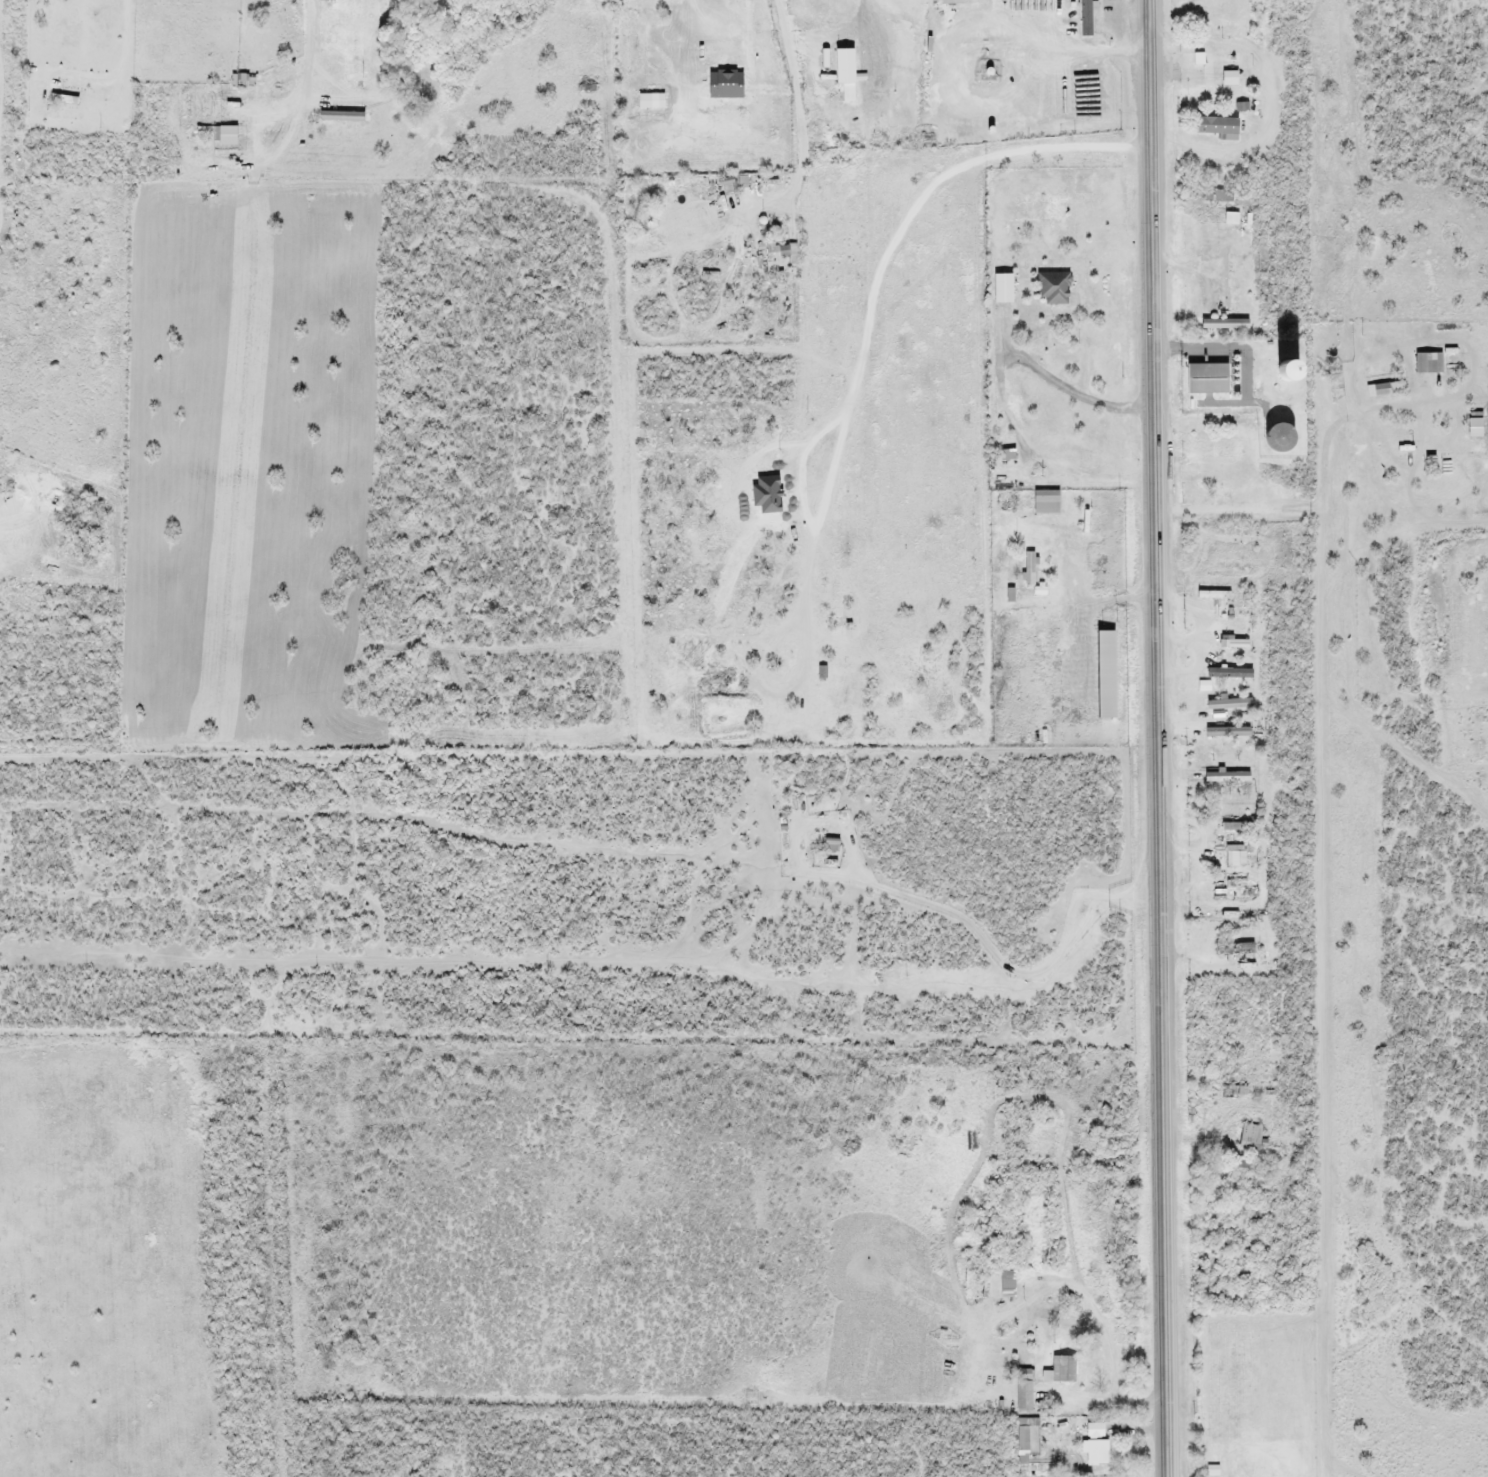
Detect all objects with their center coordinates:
building: (948, 1)
building: (639, 5)
building: (1084, 18)
building: (622, 43)
building: (841, 66)
building: (1222, 68)
building: (1192, 69)
building: (648, 100)
building: (222, 135)
building: (1216, 196)
building: (1000, 288)
building: (1052, 288)
building: (1427, 363)
building: (1419, 451)
building: (1005, 456)
building: (1213, 461)
building: (1246, 472)
building: (1043, 502)
building: (1028, 569)
building: (1235, 643)
building: (1101, 674)
building: (1228, 703)
road: (1157, 738)
building: (1224, 777)
building: (1230, 826)
building: (1231, 885)
building: (1249, 1135)
building: (1239, 1166)
building: (1005, 1284)
building: (1060, 1369)
building: (1023, 1396)
building: (1094, 1443)

